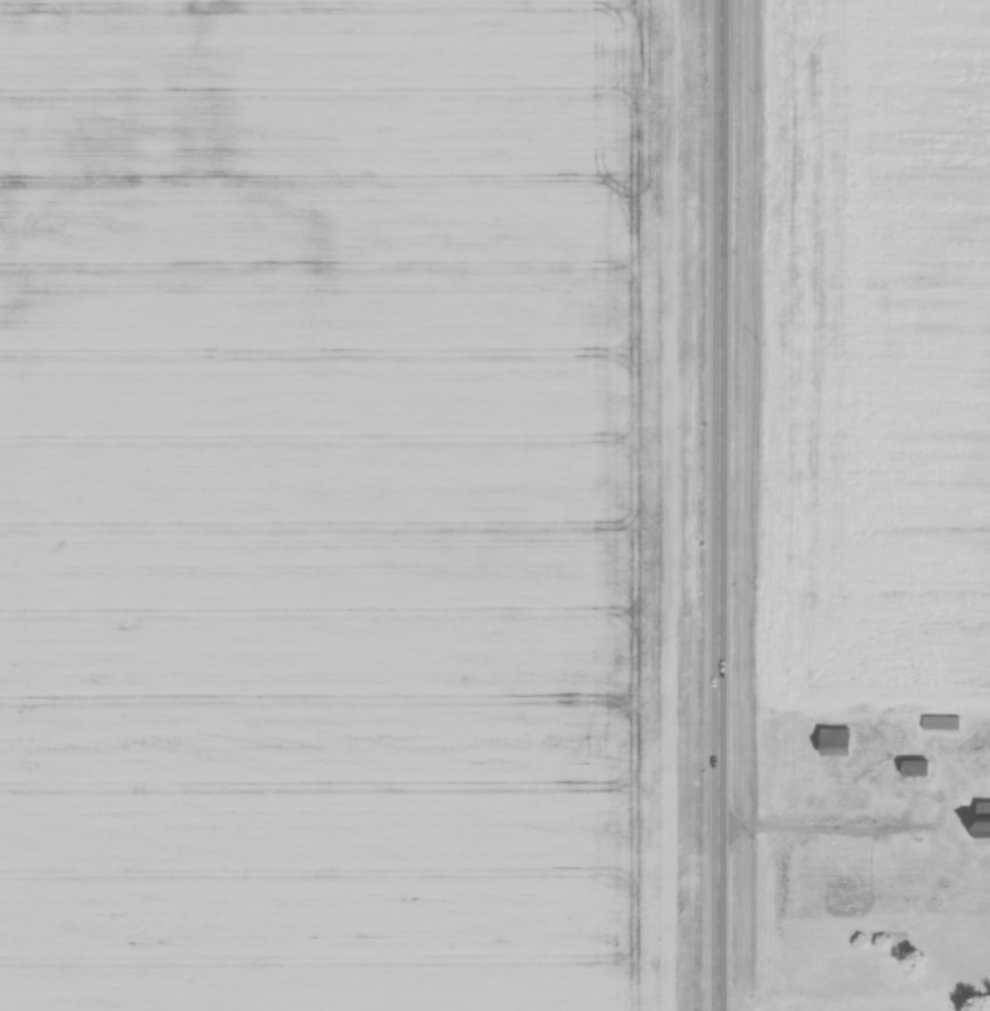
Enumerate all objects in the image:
road: (719, 505)
building: (938, 719)
building: (831, 740)
building: (910, 766)
building: (981, 820)
road: (825, 828)
building: (841, 897)

